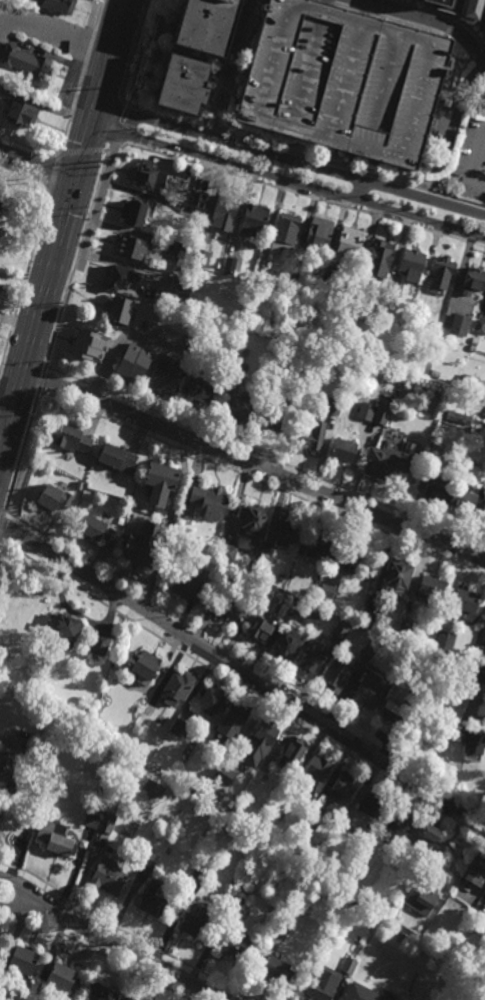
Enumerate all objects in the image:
road: (265, 1)
road: (324, 1)
building: (59, 6)
building: (460, 8)
road: (99, 15)
road: (443, 15)
road: (420, 19)
building: (207, 25)
road: (450, 27)
building: (484, 32)
road: (54, 35)
road: (160, 35)
road: (91, 42)
road: (477, 53)
road: (192, 54)
road: (451, 54)
building: (26, 61)
road: (225, 64)
road: (128, 67)
road: (234, 69)
building: (344, 79)
parking garage: (344, 79)
road: (452, 79)
road: (458, 79)
power tower: (133, 81)
building: (184, 84)
road: (74, 103)
building: (22, 110)
road: (453, 119)
road: (156, 121)
road: (181, 121)
road: (215, 130)
road: (104, 131)
road: (152, 133)
road: (149, 145)
road: (30, 148)
road: (84, 150)
road: (114, 150)
road: (476, 157)
road: (289, 160)
road: (36, 168)
power tower: (99, 168)
road: (355, 171)
building: (144, 173)
road: (54, 174)
traffic signals: (73, 183)
road: (24, 185)
road: (302, 187)
road: (102, 192)
road: (359, 192)
road: (301, 194)
building: (0, 198)
building: (201, 199)
building: (0, 202)
road: (69, 203)
building: (135, 211)
building: (226, 211)
building: (255, 218)
road: (61, 220)
building: (285, 232)
building: (317, 234)
building: (348, 241)
building: (134, 246)
building: (202, 252)
building: (185, 253)
building: (380, 254)
road: (76, 260)
building: (412, 260)
building: (230, 264)
road: (77, 270)
building: (442, 273)
building: (293, 274)
building: (475, 278)
building: (124, 279)
road: (24, 281)
building: (180, 287)
building: (388, 299)
power tower: (64, 307)
building: (121, 310)
building: (459, 324)
building: (480, 326)
building: (475, 340)
building: (90, 345)
building: (472, 348)
building: (196, 358)
building: (135, 362)
building: (238, 371)
building: (435, 373)
building: (166, 374)
building: (388, 377)
road: (41, 381)
building: (470, 382)
building: (202, 390)
building: (300, 395)
building: (333, 405)
building: (239, 409)
road: (4, 410)
building: (383, 411)
building: (367, 412)
building: (453, 416)
power tower: (31, 419)
building: (276, 421)
building: (311, 439)
building: (74, 440)
building: (343, 451)
building: (437, 451)
building: (119, 458)
building: (389, 459)
road: (252, 464)
building: (162, 483)
building: (438, 485)
building: (54, 499)
building: (467, 499)
building: (211, 502)
building: (483, 514)
building: (484, 523)
building: (253, 524)
building: (120, 527)
building: (97, 530)
building: (288, 530)
building: (144, 544)
building: (317, 544)
building: (229, 550)
road: (77, 554)
building: (347, 556)
building: (397, 573)
building: (187, 582)
building: (432, 585)
building: (326, 589)
building: (221, 596)
building: (465, 597)
building: (235, 604)
road: (147, 614)
building: (311, 614)
building: (370, 619)
building: (406, 624)
building: (260, 626)
building: (65, 627)
building: (341, 627)
building: (447, 638)
building: (482, 639)
building: (101, 642)
building: (286, 642)
building: (313, 654)
building: (484, 659)
building: (147, 664)
road: (243, 673)
building: (336, 673)
building: (481, 674)
building: (179, 685)
building: (369, 689)
road: (243, 691)
building: (213, 697)
building: (412, 702)
building: (390, 708)
building: (235, 717)
building: (183, 722)
building: (265, 731)
building: (474, 739)
building: (42, 753)
building: (291, 753)
building: (317, 767)
building: (7, 772)
building: (224, 776)
building: (342, 785)
building: (155, 788)
building: (191, 789)
building: (370, 800)
building: (236, 813)
building: (402, 817)
building: (108, 819)
building: (91, 820)
building: (311, 826)
building: (430, 833)
building: (61, 844)
building: (19, 850)
building: (150, 859)
building: (476, 869)
building: (200, 872)
building: (109, 876)
road: (21, 887)
building: (421, 899)
building: (153, 900)
building: (235, 902)
road: (19, 906)
building: (197, 922)
building: (401, 936)
building: (236, 947)
road: (133, 953)
building: (23, 960)
building: (349, 966)
building: (277, 968)
building: (64, 977)
building: (319, 990)
building: (103, 992)
building: (365, 993)

